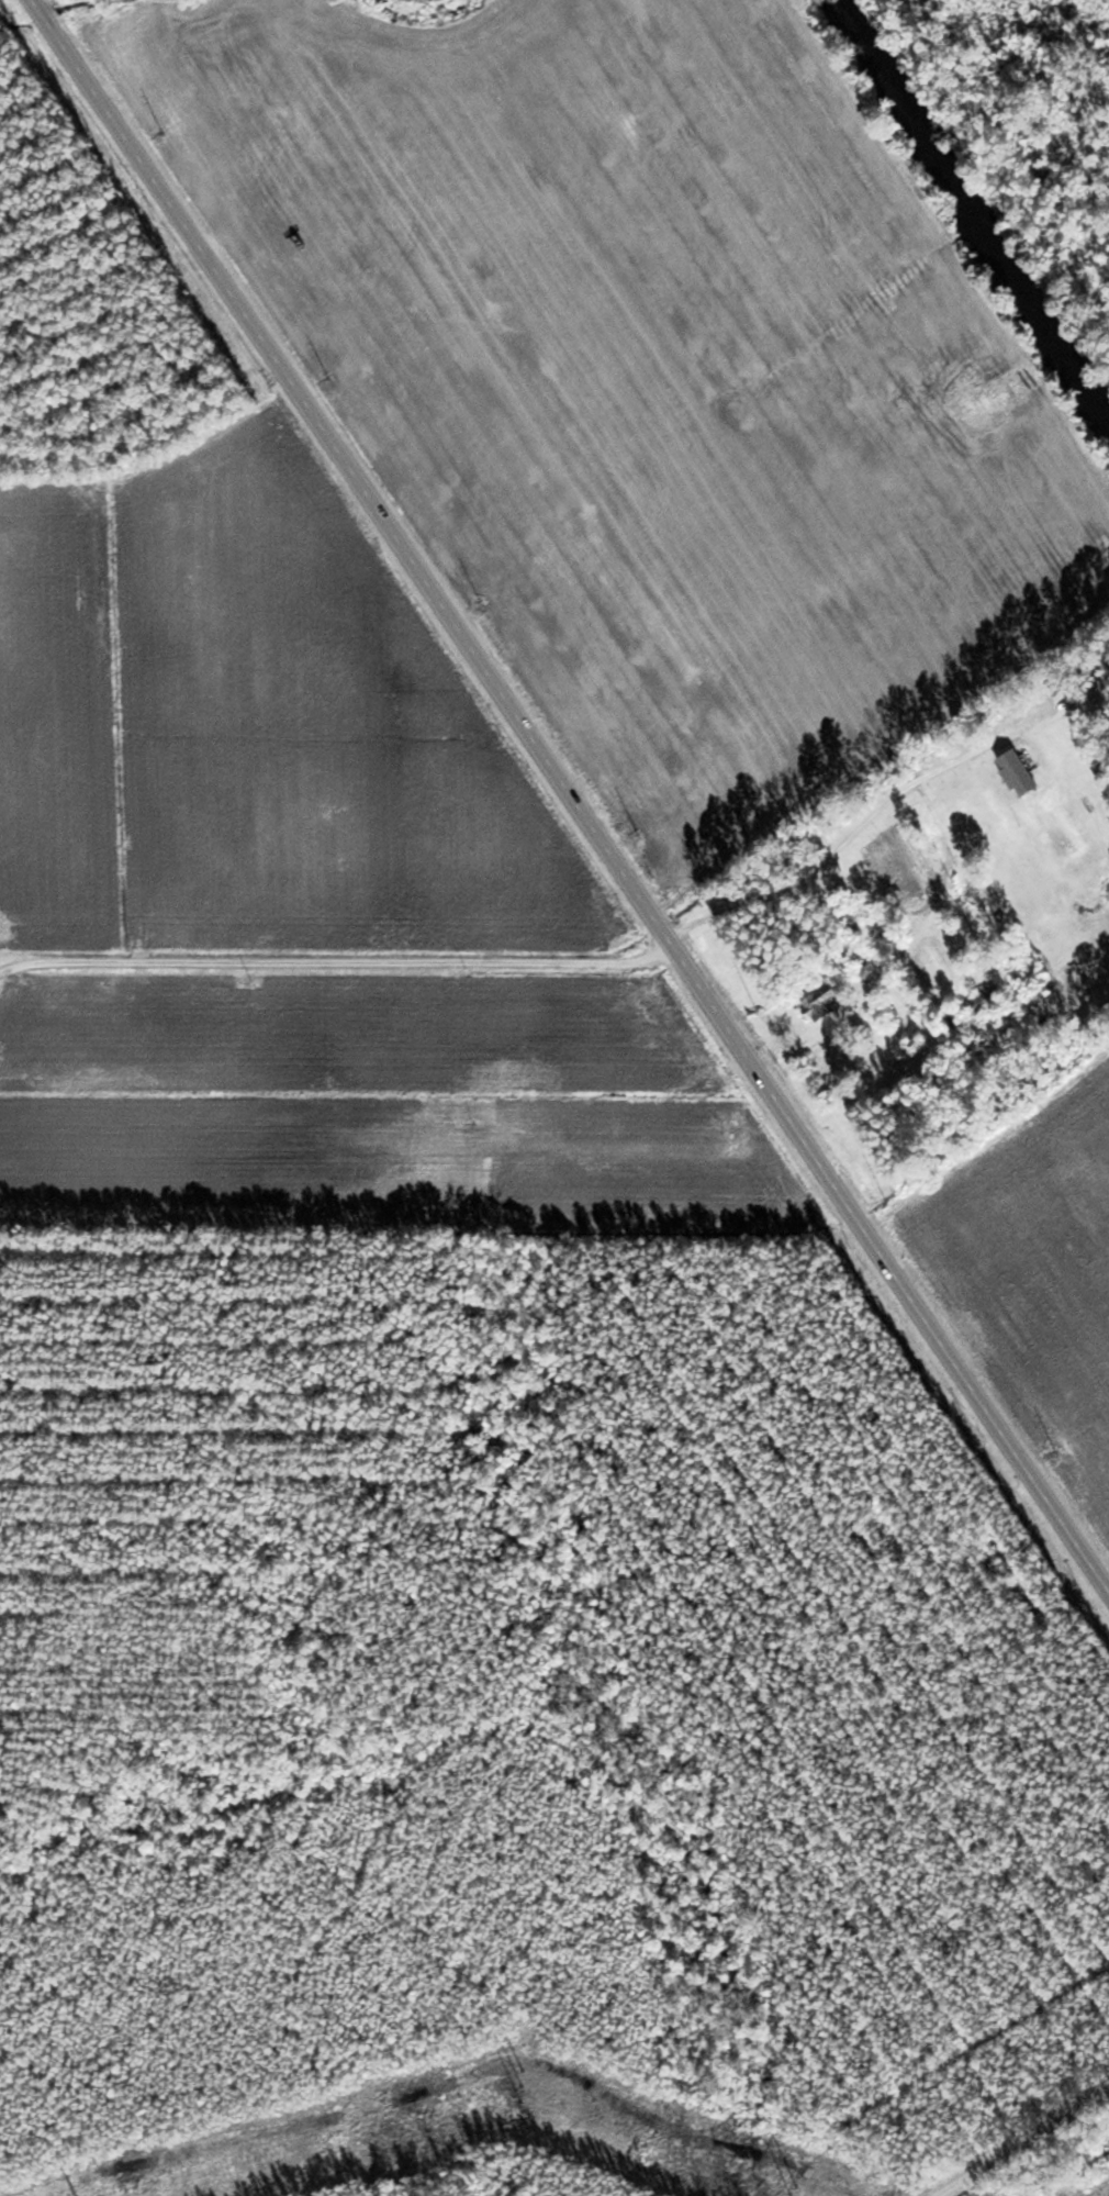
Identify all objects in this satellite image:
road: (571, 791)
building: (1027, 792)
building: (827, 1004)
road: (981, 2117)

